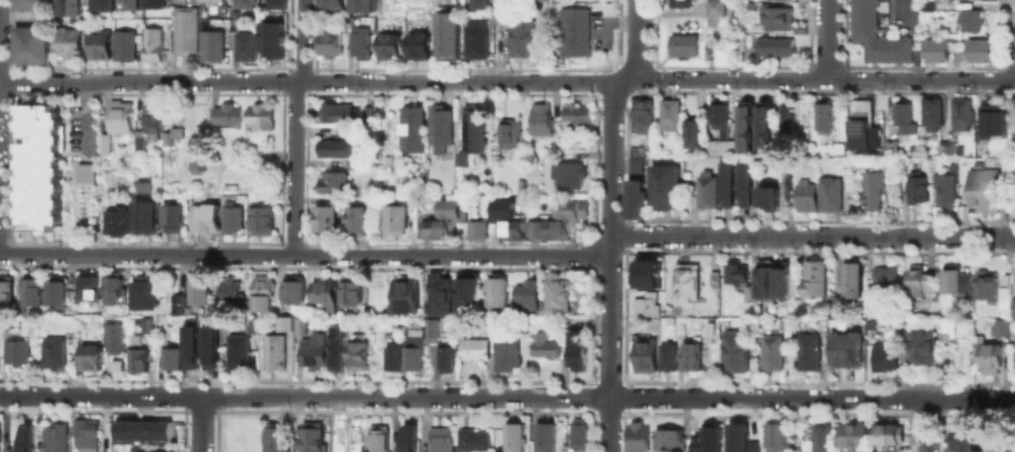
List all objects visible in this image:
building: (535, 0)
building: (941, 0)
building: (131, 2)
building: (213, 2)
building: (152, 3)
building: (243, 3)
building: (330, 3)
building: (478, 3)
building: (679, 3)
building: (277, 4)
building: (30, 5)
building: (99, 5)
building: (359, 5)
building: (926, 5)
building: (68, 7)
building: (714, 7)
building: (499, 14)
building: (777, 17)
building: (969, 19)
building: (184, 30)
building: (572, 30)
building: (874, 35)
building: (520, 37)
building: (474, 38)
road: (913, 38)
building: (271, 39)
road: (636, 39)
road: (827, 39)
building: (328, 40)
building: (69, 41)
building: (446, 41)
building: (99, 42)
building: (154, 42)
building: (358, 42)
building: (30, 44)
building: (123, 44)
building: (773, 44)
building: (212, 45)
building: (244, 45)
building: (416, 45)
building: (683, 45)
building: (388, 46)
building: (708, 47)
building: (935, 49)
building: (979, 49)
road: (920, 79)
road: (413, 81)
building: (1012, 109)
building: (337, 111)
building: (366, 111)
building: (718, 111)
building: (930, 112)
building: (669, 113)
building: (960, 113)
building: (150, 114)
building: (225, 114)
building: (641, 114)
building: (823, 114)
building: (118, 116)
building: (197, 116)
building: (257, 116)
building: (575, 116)
building: (902, 116)
building: (992, 116)
building: (784, 118)
building: (538, 119)
building: (743, 123)
building: (762, 124)
road: (294, 126)
building: (411, 127)
building: (438, 128)
building: (472, 128)
building: (692, 130)
building: (507, 133)
building: (862, 134)
building: (136, 141)
building: (103, 142)
building: (336, 146)
building: (721, 146)
building: (889, 146)
building: (944, 147)
road: (611, 158)
building: (196, 160)
building: (352, 163)
building: (634, 164)
building: (37, 166)
building: (84, 172)
building: (565, 173)
building: (688, 176)
building: (331, 180)
building: (723, 181)
building: (742, 181)
building: (518, 184)
building: (664, 184)
building: (142, 186)
building: (916, 186)
building: (982, 186)
building: (706, 188)
building: (871, 188)
building: (943, 188)
building: (786, 189)
building: (764, 193)
building: (829, 193)
building: (804, 194)
building: (634, 198)
building: (449, 208)
building: (502, 208)
building: (570, 208)
building: (143, 213)
building: (172, 217)
building: (203, 217)
building: (324, 217)
building: (232, 218)
building: (353, 218)
building: (394, 218)
building: (116, 220)
building: (261, 221)
building: (510, 227)
building: (434, 228)
building: (474, 228)
building: (534, 228)
building: (557, 228)
road: (812, 235)
road: (304, 253)
building: (646, 273)
building: (735, 273)
building: (810, 276)
building: (883, 276)
building: (712, 277)
building: (954, 278)
building: (849, 279)
building: (919, 280)
building: (684, 281)
building: (766, 282)
building: (983, 283)
building: (30, 287)
building: (86, 287)
building: (112, 287)
building: (5, 288)
building: (292, 288)
building: (349, 288)
building: (227, 289)
building: (1001, 289)
building: (56, 290)
building: (466, 290)
building: (198, 291)
building: (145, 292)
building: (495, 292)
building: (555, 292)
building: (261, 293)
building: (323, 294)
building: (437, 294)
building: (525, 294)
building: (403, 295)
building: (176, 301)
building: (644, 303)
building: (17, 304)
building: (834, 305)
building: (1012, 306)
building: (664, 307)
building: (666, 319)
building: (282, 320)
building: (248, 321)
building: (298, 322)
building: (146, 323)
building: (867, 323)
building: (431, 324)
building: (998, 325)
building: (113, 337)
building: (337, 342)
road: (609, 343)
building: (189, 345)
building: (210, 345)
building: (543, 345)
building: (808, 346)
building: (917, 347)
building: (412, 348)
building: (475, 348)
building: (843, 348)
building: (237, 349)
building: (507, 349)
building: (575, 349)
building: (16, 350)
building: (733, 350)
building: (53, 351)
building: (273, 351)
building: (313, 351)
building: (356, 351)
building: (644, 354)
building: (444, 355)
building: (666, 355)
building: (690, 355)
building: (766, 355)
building: (90, 356)
building: (390, 356)
building: (882, 356)
building: (981, 356)
building: (136, 357)
building: (169, 358)
building: (120, 361)
building: (1014, 365)
road: (507, 396)
road: (201, 424)
road: (926, 424)
building: (141, 427)
building: (792, 428)
building: (578, 431)
building: (84, 432)
building: (886, 432)
building: (851, 434)
building: (23, 436)
building: (311, 436)
building: (636, 436)
building: (53, 437)
building: (273, 437)
building: (407, 437)
building: (512, 437)
building: (774, 437)
building: (820, 437)
building: (960, 437)
building: (377, 438)
building: (544, 438)
building: (669, 438)
building: (739, 438)
building: (439, 439)
building: (472, 439)
building: (707, 439)
building: (997, 449)

